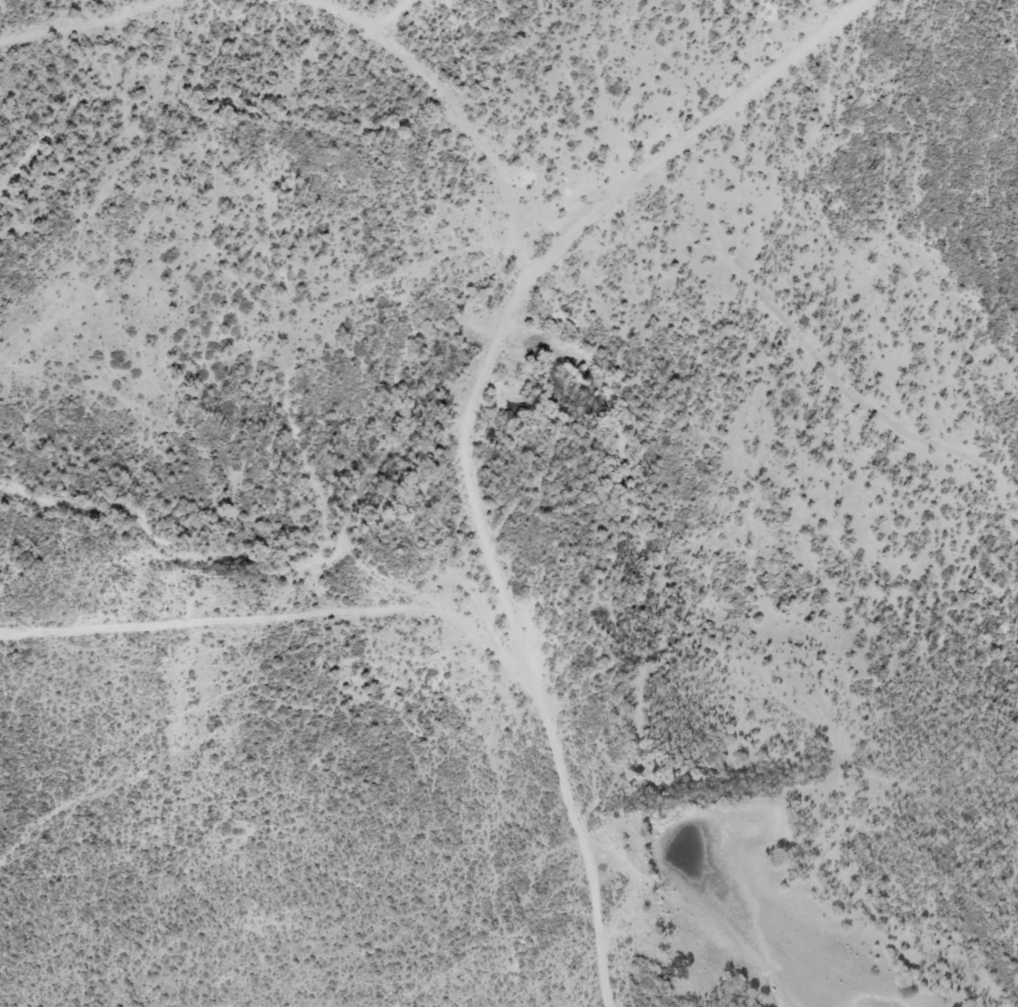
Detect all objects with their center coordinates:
road: (79, 19)
road: (457, 112)
road: (472, 431)

